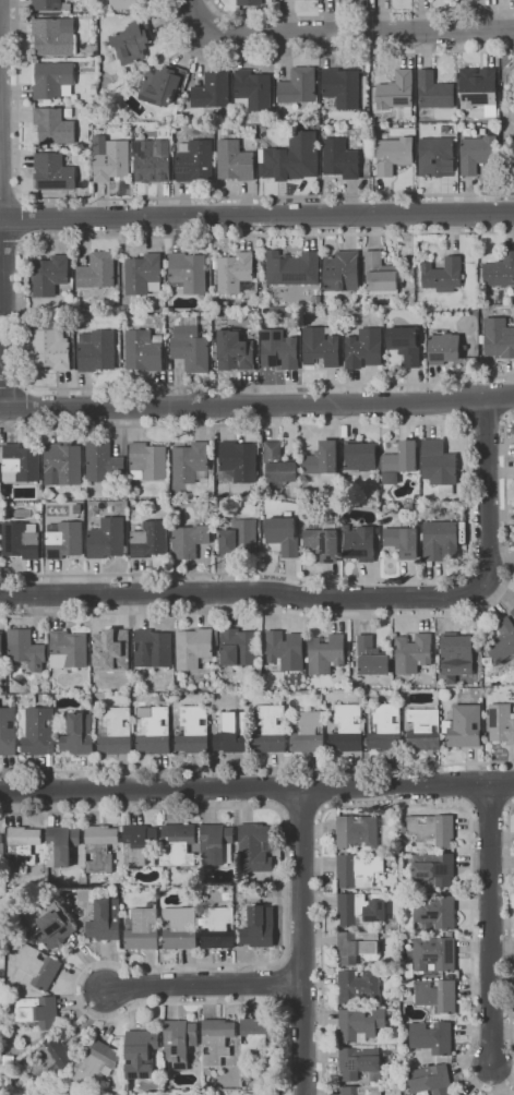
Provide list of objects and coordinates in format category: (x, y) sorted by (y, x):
building: (250, 2)
building: (47, 4)
building: (127, 4)
road: (360, 12)
road: (194, 15)
building: (23, 22)
road: (355, 29)
building: (56, 36)
building: (134, 41)
building: (109, 50)
road: (323, 50)
building: (55, 81)
building: (366, 81)
building: (165, 83)
building: (299, 87)
building: (342, 87)
building: (479, 87)
building: (95, 88)
building: (253, 89)
building: (435, 91)
building: (213, 92)
building: (398, 92)
building: (234, 103)
building: (312, 110)
building: (55, 125)
building: (303, 128)
building: (231, 129)
building: (513, 136)
building: (513, 141)
building: (478, 153)
building: (394, 154)
building: (279, 157)
building: (438, 157)
building: (112, 158)
building: (342, 158)
building: (236, 160)
building: (152, 161)
building: (196, 161)
building: (513, 165)
building: (53, 172)
building: (65, 195)
building: (73, 195)
road: (9, 198)
road: (167, 198)
road: (256, 216)
road: (25, 220)
road: (12, 241)
building: (311, 266)
building: (413, 267)
building: (283, 268)
building: (98, 269)
road: (1, 270)
building: (500, 270)
building: (190, 272)
building: (236, 272)
building: (343, 273)
building: (51, 274)
building: (144, 274)
building: (381, 274)
building: (443, 274)
building: (124, 308)
road: (24, 312)
building: (216, 336)
building: (497, 336)
building: (406, 344)
building: (322, 346)
building: (191, 348)
building: (364, 348)
building: (52, 349)
building: (279, 349)
building: (444, 349)
building: (97, 350)
building: (144, 350)
building: (214, 351)
building: (236, 351)
road: (13, 385)
road: (256, 405)
road: (486, 421)
building: (362, 456)
building: (402, 458)
building: (323, 460)
building: (148, 461)
building: (239, 461)
building: (21, 462)
building: (64, 462)
building: (104, 462)
building: (191, 462)
building: (279, 464)
building: (440, 465)
building: (375, 496)
road: (466, 496)
building: (376, 504)
building: (410, 506)
building: (513, 509)
building: (304, 513)
building: (459, 514)
building: (81, 515)
building: (96, 525)
building: (284, 534)
building: (239, 537)
building: (64, 539)
building: (108, 539)
building: (151, 539)
building: (22, 540)
building: (190, 540)
building: (324, 540)
building: (404, 541)
building: (441, 541)
building: (360, 543)
road: (336, 597)
building: (513, 612)
road: (345, 616)
building: (503, 640)
building: (1, 643)
building: (155, 647)
building: (194, 647)
building: (240, 647)
building: (26, 649)
building: (69, 649)
building: (111, 649)
building: (286, 650)
building: (458, 650)
building: (413, 652)
building: (326, 653)
building: (262, 655)
building: (371, 659)
building: (479, 689)
building: (489, 691)
building: (215, 720)
building: (501, 722)
building: (465, 725)
building: (386, 727)
building: (271, 729)
building: (348, 729)
building: (37, 730)
building: (153, 730)
building: (193, 730)
building: (425, 730)
building: (8, 731)
building: (117, 731)
building: (309, 732)
building: (234, 733)
building: (79, 734)
road: (256, 768)
road: (256, 786)
road: (418, 805)
road: (302, 809)
building: (433, 830)
building: (357, 831)
building: (61, 844)
building: (140, 844)
building: (179, 844)
building: (217, 844)
building: (23, 846)
building: (256, 846)
building: (100, 847)
building: (2, 850)
building: (434, 867)
building: (359, 868)
building: (361, 909)
building: (434, 913)
building: (106, 919)
building: (51, 924)
road: (510, 924)
road: (488, 926)
building: (260, 927)
building: (143, 928)
building: (180, 928)
building: (219, 929)
road: (302, 940)
building: (357, 946)
building: (435, 954)
building: (373, 960)
road: (227, 964)
building: (37, 967)
road: (203, 984)
building: (359, 985)
building: (398, 995)
building: (437, 995)
building: (11, 1007)
building: (38, 1011)
building: (453, 1019)
building: (361, 1023)
building: (256, 1037)
building: (431, 1039)
building: (179, 1042)
building: (216, 1042)
building: (142, 1052)
building: (48, 1060)
building: (360, 1062)
building: (97, 1063)
building: (249, 1079)
building: (395, 1079)
building: (431, 1079)
building: (361, 1091)
building: (459, 1094)

